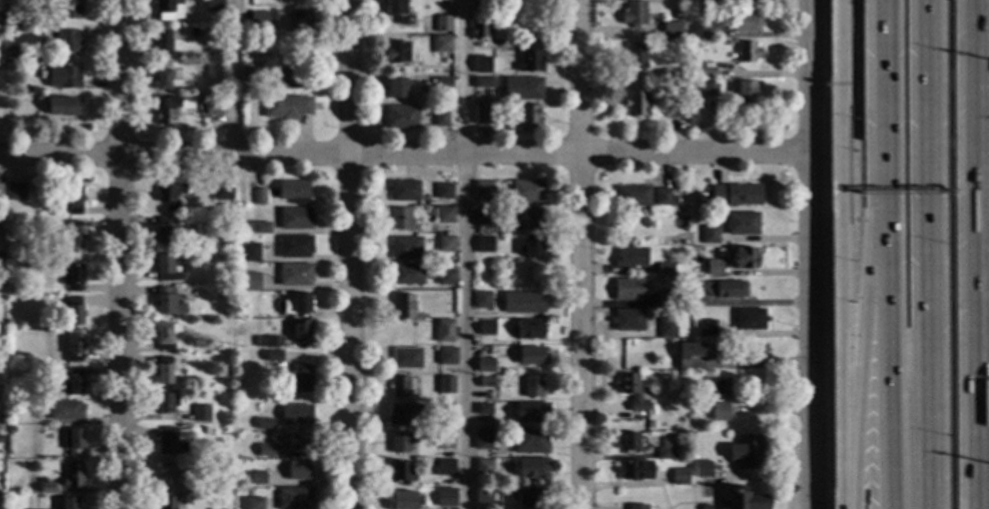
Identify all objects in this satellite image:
building: (483, 2)
building: (7, 7)
building: (65, 10)
building: (167, 10)
building: (395, 10)
building: (633, 14)
building: (676, 14)
building: (259, 20)
building: (745, 22)
building: (300, 23)
building: (443, 24)
building: (705, 29)
building: (479, 31)
building: (671, 31)
road: (976, 33)
road: (983, 39)
building: (68, 42)
building: (162, 42)
building: (726, 43)
building: (442, 44)
building: (1, 46)
building: (746, 52)
building: (11, 53)
building: (398, 53)
building: (178, 56)
building: (635, 56)
building: (529, 61)
building: (9, 65)
building: (482, 67)
building: (707, 73)
building: (163, 76)
building: (252, 76)
building: (64, 77)
road: (232, 77)
building: (290, 78)
building: (672, 78)
building: (442, 83)
building: (482, 83)
building: (395, 89)
building: (522, 89)
building: (708, 89)
building: (25, 90)
building: (32, 90)
building: (746, 92)
building: (635, 103)
road: (883, 105)
building: (213, 106)
building: (63, 107)
building: (286, 107)
building: (166, 110)
building: (674, 110)
building: (9, 113)
building: (482, 115)
building: (528, 115)
building: (400, 117)
building: (440, 118)
road: (403, 154)
building: (498, 186)
building: (403, 190)
building: (482, 190)
building: (222, 191)
building: (443, 191)
building: (526, 191)
building: (0, 192)
building: (15, 192)
building: (294, 192)
building: (169, 195)
building: (735, 195)
building: (259, 197)
building: (632, 197)
building: (663, 198)
building: (73, 201)
building: (423, 201)
building: (442, 215)
building: (481, 216)
building: (292, 218)
building: (400, 219)
building: (526, 219)
building: (713, 221)
building: (0, 224)
building: (741, 224)
building: (260, 228)
building: (167, 232)
building: (709, 235)
building: (68, 237)
building: (224, 243)
building: (446, 244)
building: (483, 244)
building: (294, 246)
building: (531, 246)
building: (405, 248)
building: (250, 253)
road: (120, 254)
road: (351, 254)
road: (464, 254)
road: (580, 254)
road: (807, 254)
road: (839, 254)
road: (929, 254)
building: (630, 257)
building: (743, 258)
building: (711, 267)
building: (165, 269)
building: (665, 269)
building: (294, 274)
building: (407, 274)
building: (71, 277)
building: (446, 277)
building: (251, 281)
building: (688, 288)
road: (978, 288)
building: (9, 289)
building: (725, 289)
building: (627, 290)
building: (665, 299)
building: (482, 300)
building: (168, 302)
building: (522, 302)
building: (297, 304)
building: (403, 307)
building: (72, 311)
building: (226, 311)
building: (239, 313)
building: (749, 319)
building: (627, 320)
building: (8, 323)
building: (486, 328)
building: (666, 328)
building: (706, 328)
building: (529, 329)
building: (300, 331)
building: (444, 331)
building: (166, 335)
building: (269, 342)
building: (71, 348)
building: (216, 350)
building: (447, 356)
building: (531, 356)
building: (697, 357)
building: (407, 358)
road: (864, 358)
road: (886, 359)
building: (273, 360)
building: (8, 362)
building: (485, 365)
building: (163, 371)
building: (223, 377)
building: (301, 378)
building: (486, 382)
building: (72, 383)
building: (446, 385)
building: (10, 386)
building: (399, 386)
building: (532, 387)
building: (719, 387)
building: (631, 391)
building: (166, 403)
building: (9, 404)
building: (483, 409)
building: (64, 410)
building: (446, 412)
building: (531, 412)
building: (719, 412)
building: (200, 414)
building: (296, 415)
building: (404, 415)
building: (265, 424)
building: (649, 424)
building: (488, 426)
building: (71, 441)
building: (482, 441)
building: (170, 442)
building: (299, 442)
building: (401, 442)
building: (529, 442)
building: (628, 442)
building: (445, 443)
building: (495, 449)
building: (266, 451)
building: (489, 451)
building: (746, 452)
building: (664, 454)
building: (445, 467)
building: (483, 468)
building: (532, 469)
building: (702, 469)
road: (787, 469)
building: (298, 471)
building: (635, 471)
building: (241, 472)
building: (172, 473)
building: (400, 473)
building: (72, 476)
building: (679, 477)
building: (257, 478)
building: (47, 487)
building: (194, 488)
building: (482, 495)
building: (528, 496)
building: (446, 497)
building: (293, 498)
building: (402, 500)
building: (742, 500)
building: (68, 503)
building: (166, 503)
building: (253, 503)
building: (636, 506)
building: (705, 507)

